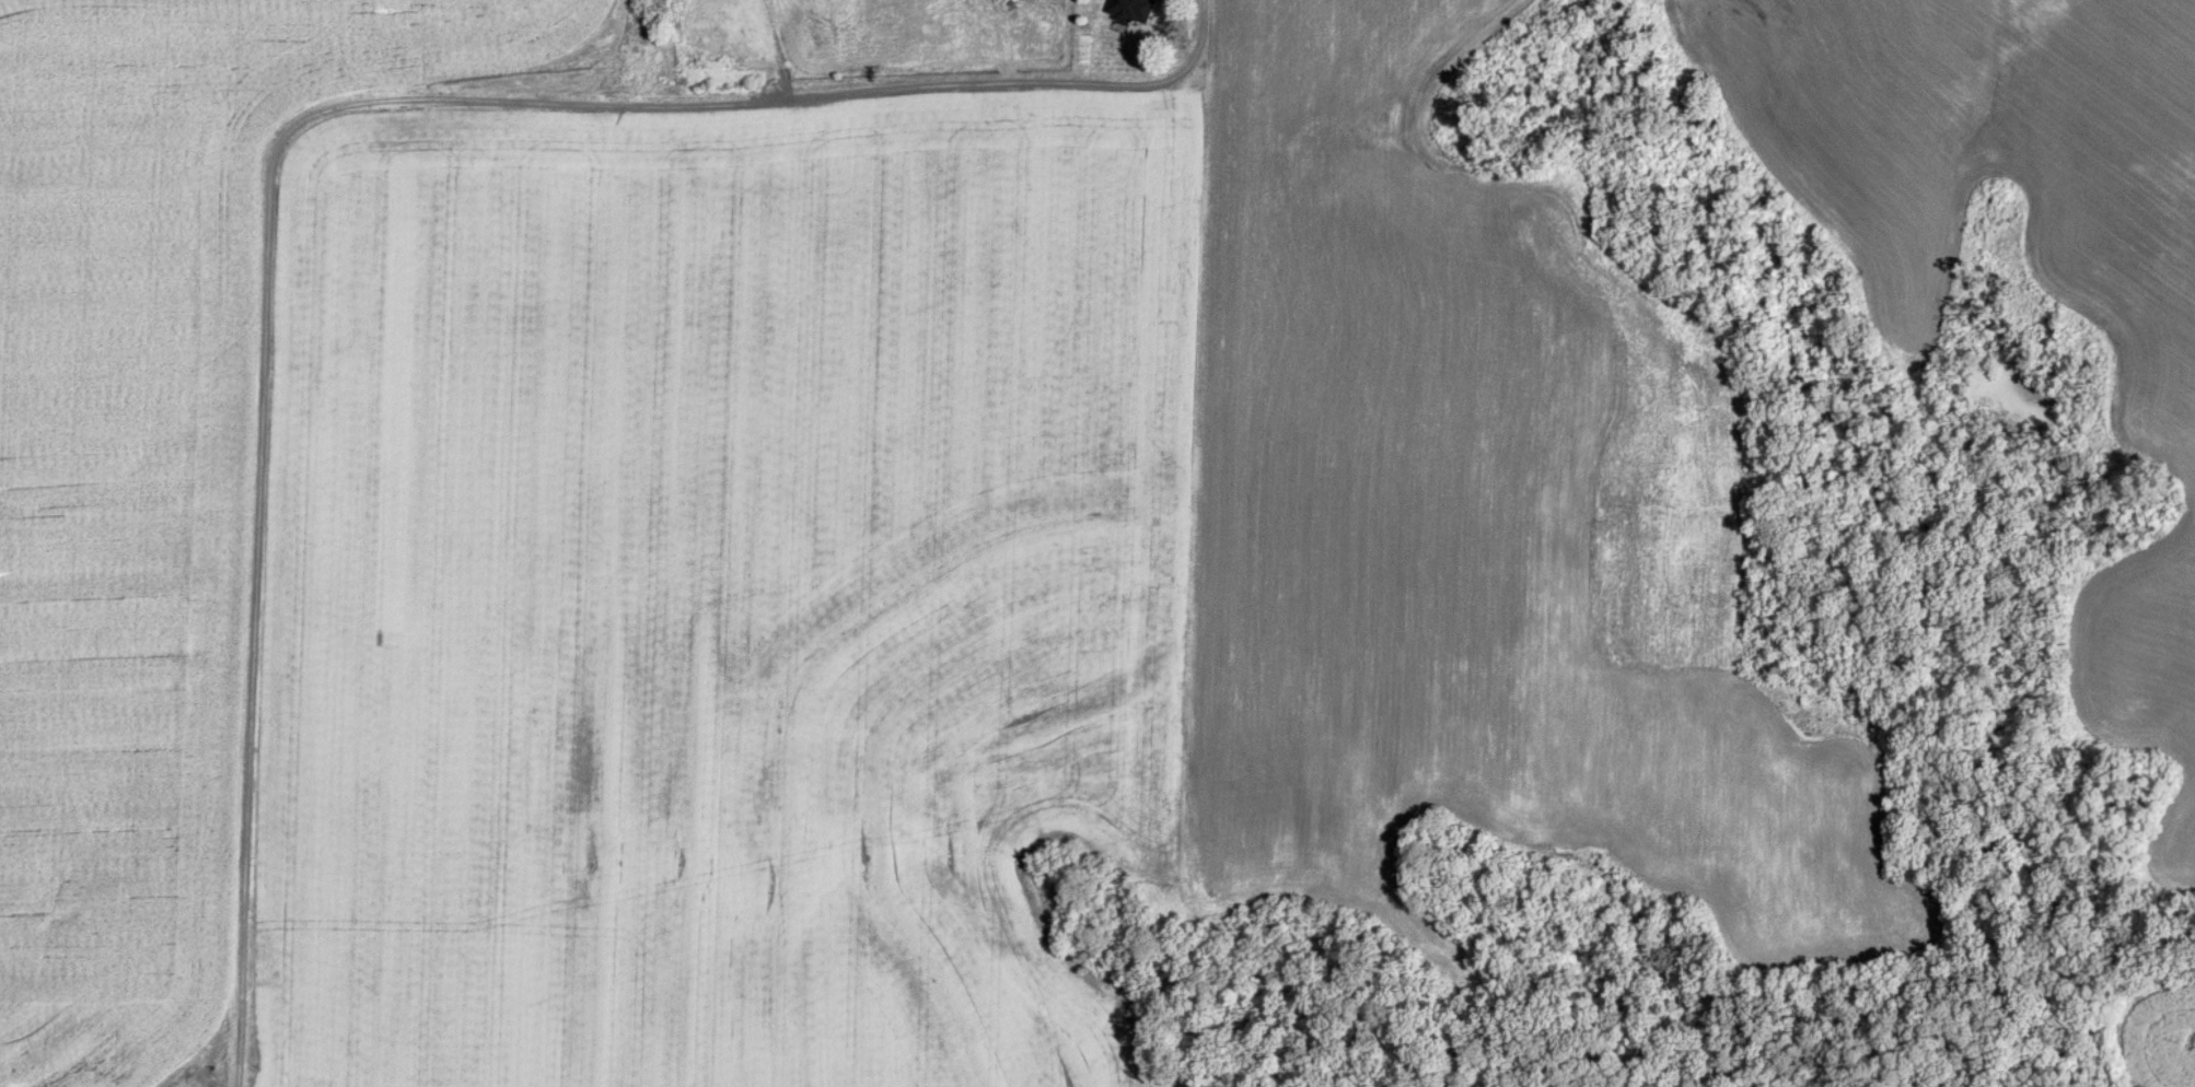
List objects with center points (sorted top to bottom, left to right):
building: (1134, 10)
road: (290, 125)

